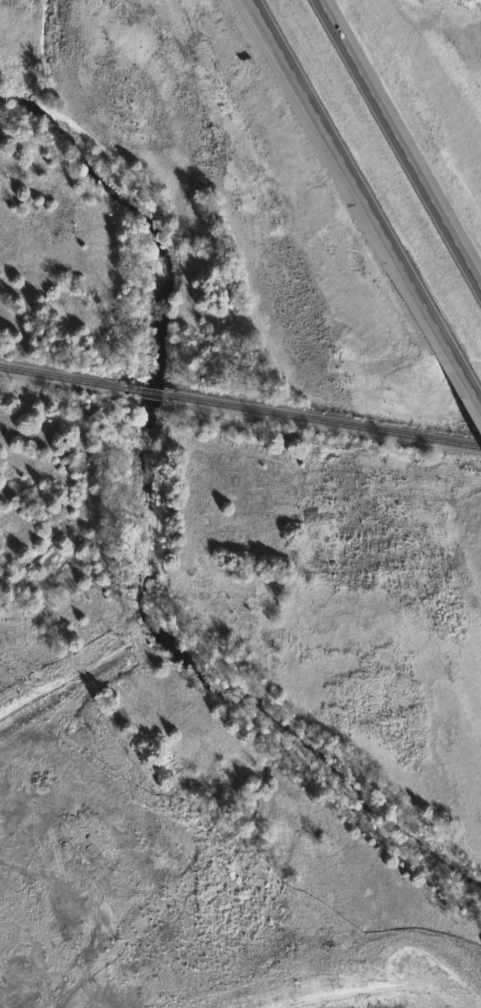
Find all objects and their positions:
road: (400, 152)
road: (348, 178)
railway: (66, 373)
railway: (150, 388)
road: (461, 391)
railway: (324, 418)

